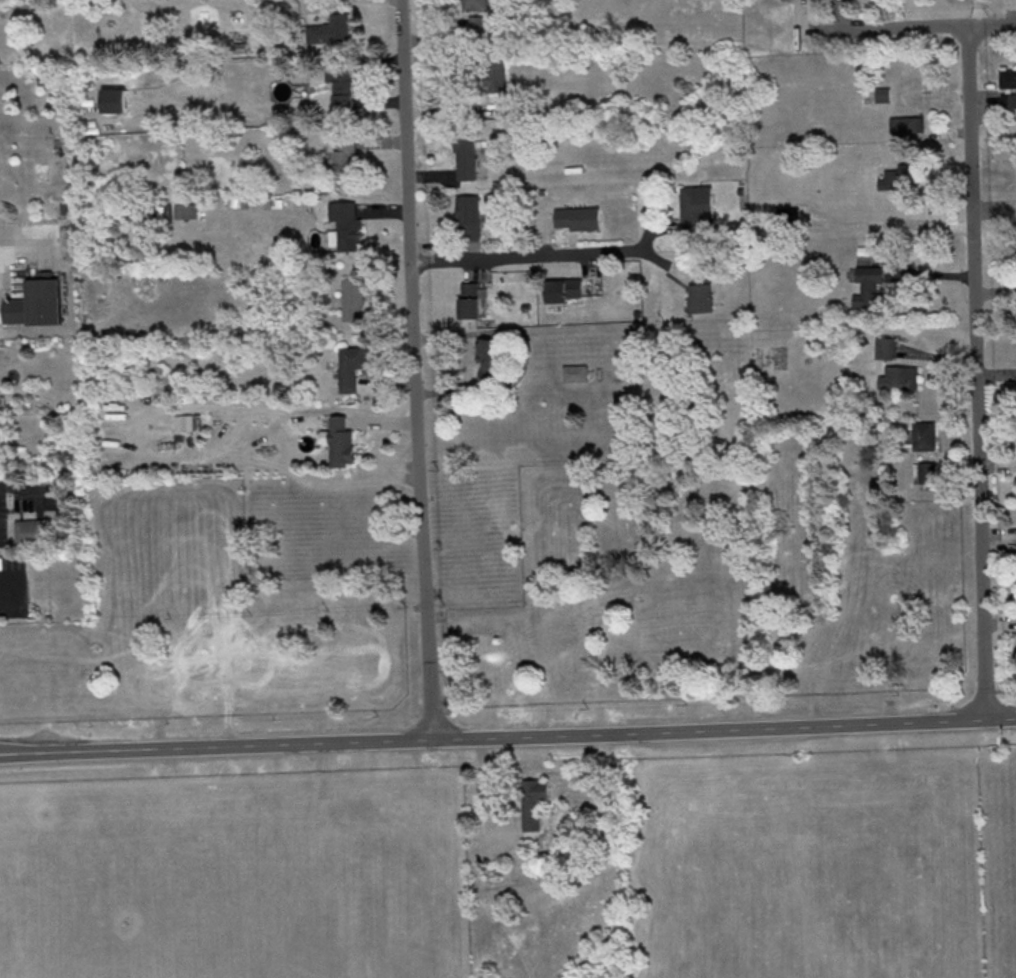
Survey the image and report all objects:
building: (475, 5)
building: (478, 23)
road: (917, 25)
building: (331, 29)
building: (495, 75)
building: (1007, 78)
building: (342, 87)
building: (883, 94)
building: (1008, 100)
building: (907, 124)
building: (466, 153)
building: (345, 158)
building: (899, 175)
building: (696, 207)
building: (187, 211)
building: (469, 215)
building: (578, 217)
building: (345, 226)
road: (530, 256)
building: (866, 279)
building: (564, 289)
building: (701, 289)
building: (353, 299)
building: (472, 299)
building: (36, 303)
building: (885, 346)
building: (487, 358)
building: (351, 366)
road: (415, 370)
road: (976, 371)
building: (576, 373)
building: (901, 376)
road: (266, 410)
building: (924, 435)
building: (339, 441)
building: (924, 472)
road: (15, 490)
building: (29, 530)
road: (3, 594)
road: (508, 737)
building: (533, 801)
park: (998, 848)

